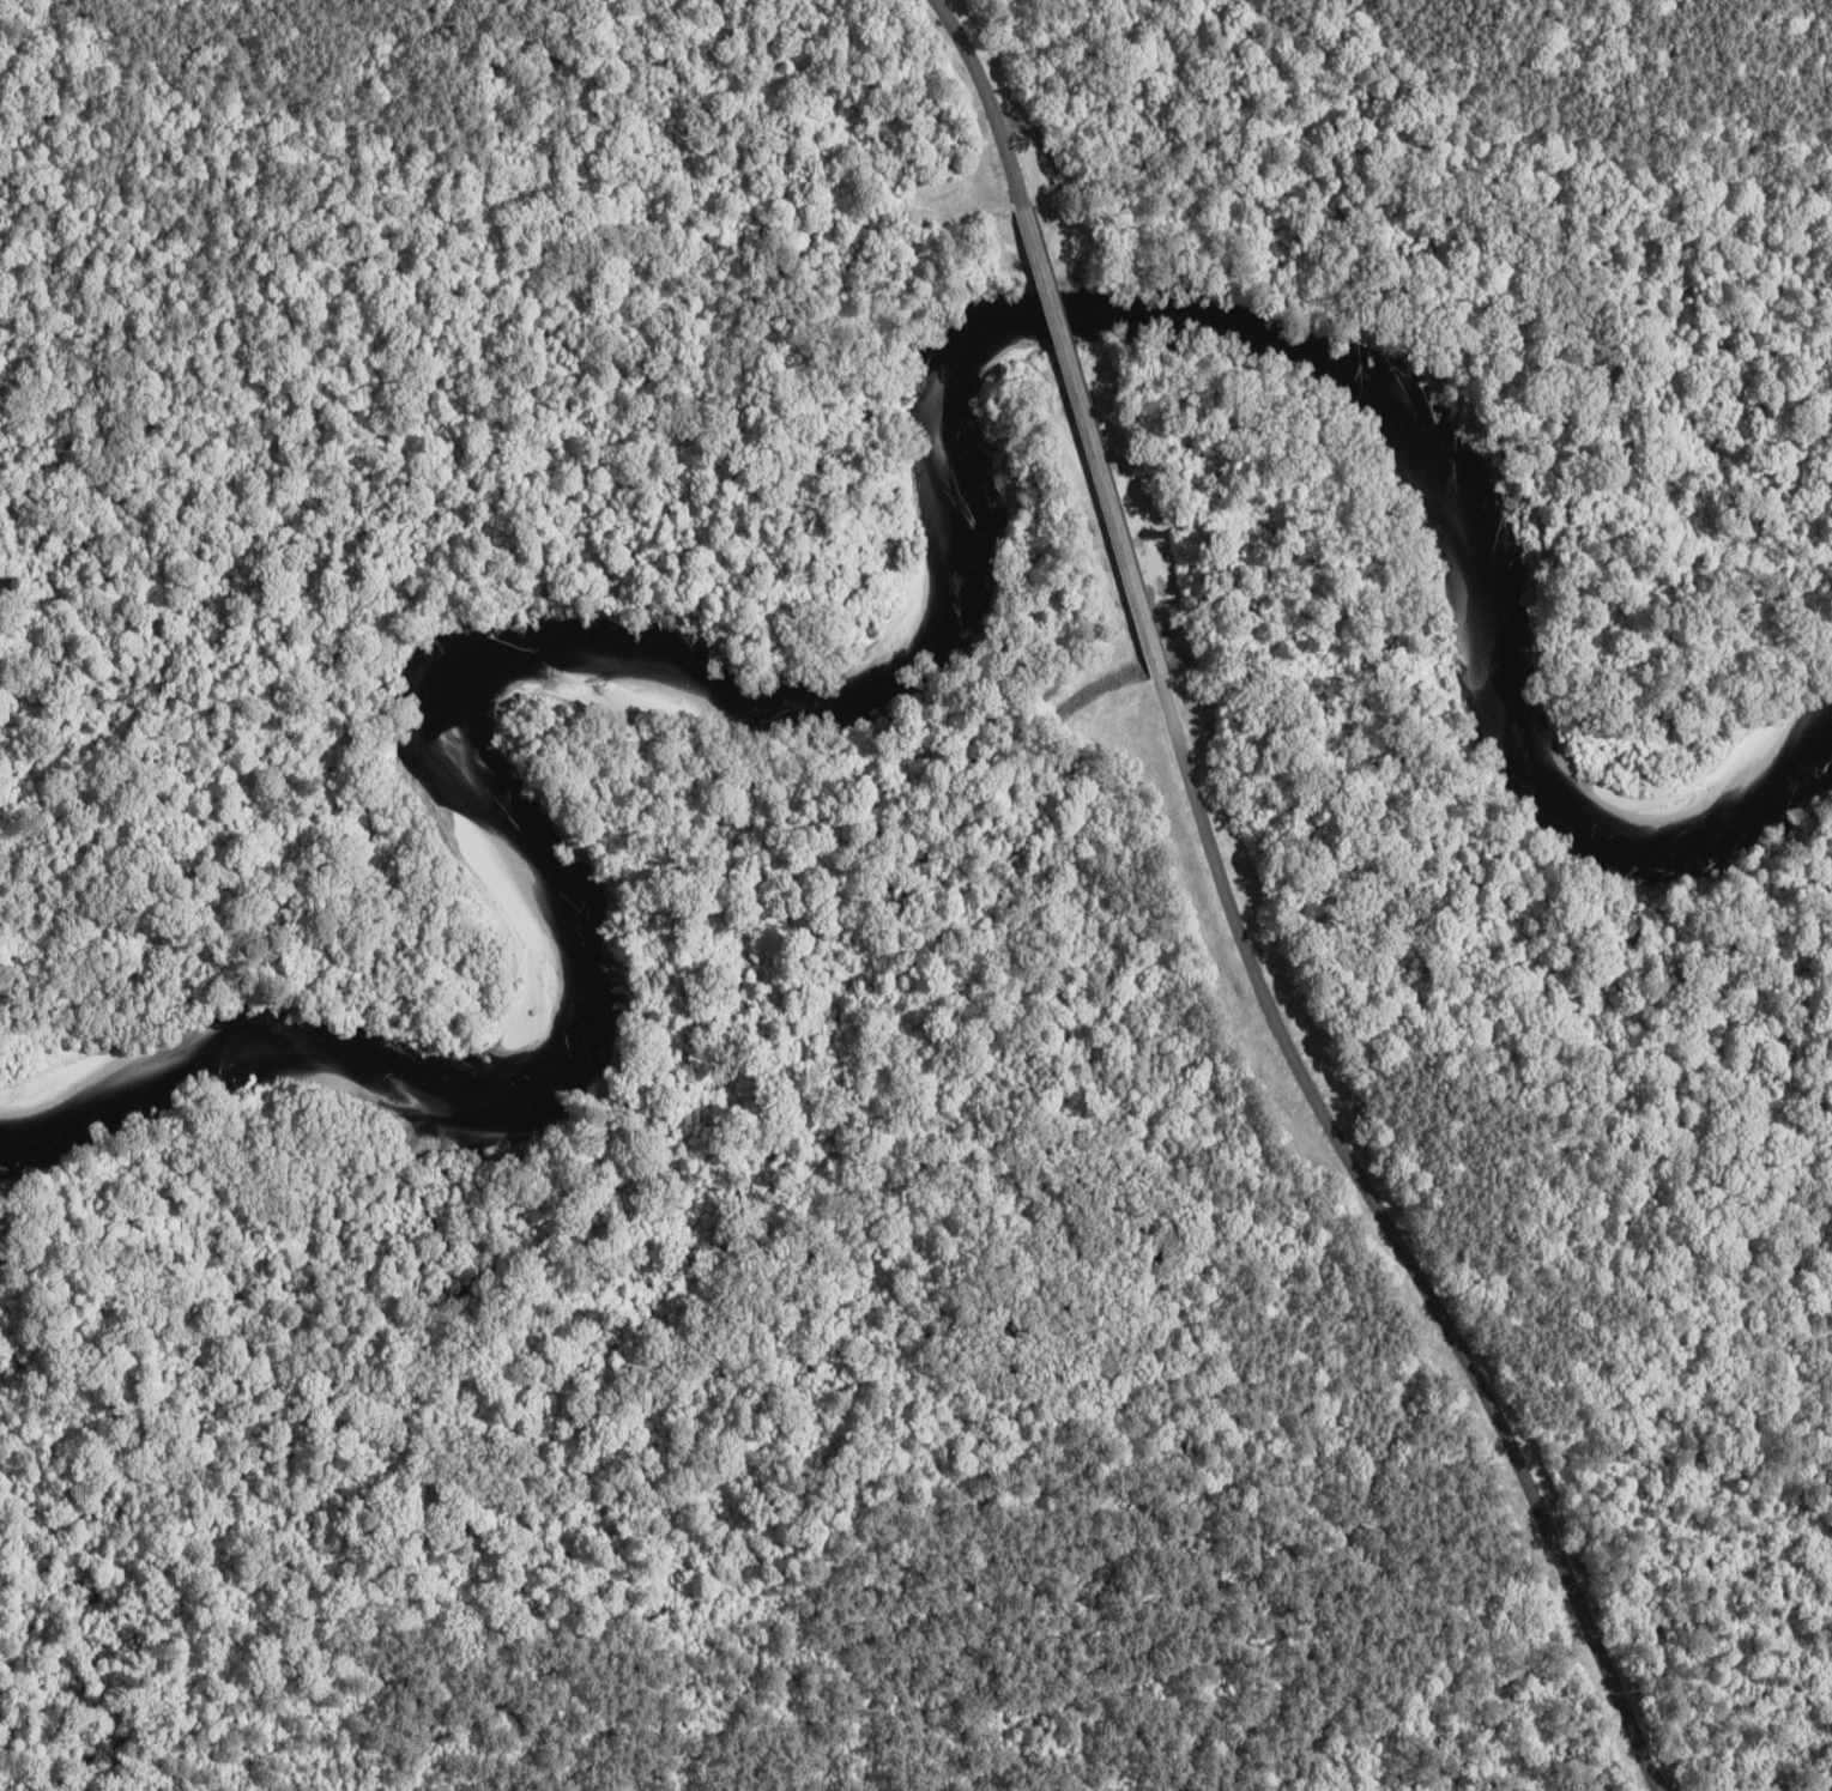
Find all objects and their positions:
road: (988, 102)
road: (1096, 440)
river: (906, 645)
road: (1398, 1236)
road: (1266, 1638)
road: (1709, 1789)

